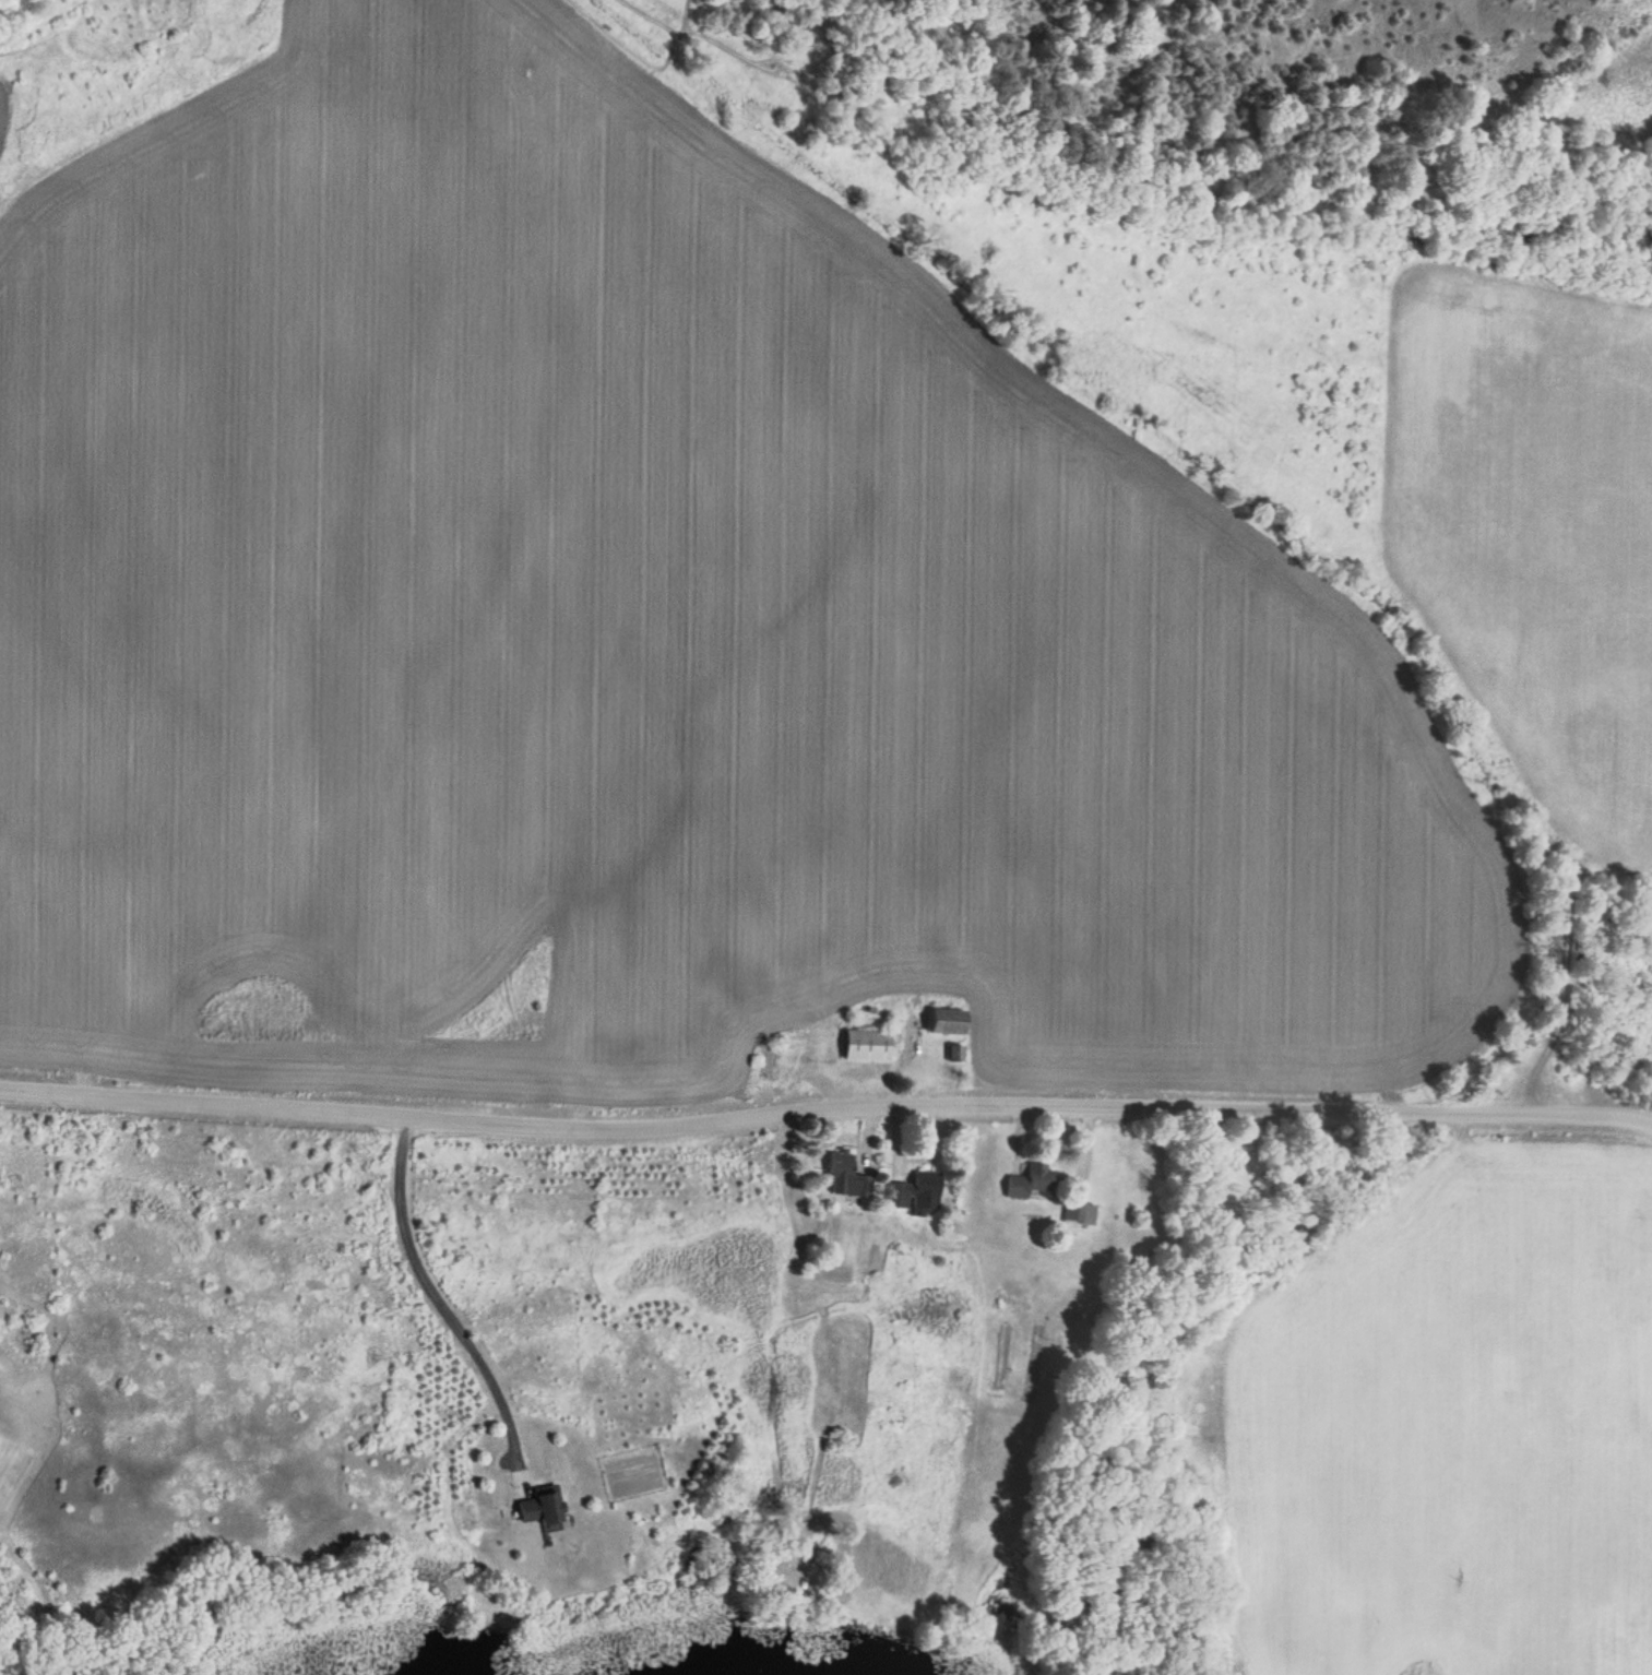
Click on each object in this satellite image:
building: (947, 1020)
building: (866, 1043)
road: (824, 1107)
building: (847, 1174)
building: (1032, 1181)
building: (915, 1191)
building: (1079, 1212)
building: (539, 1502)

